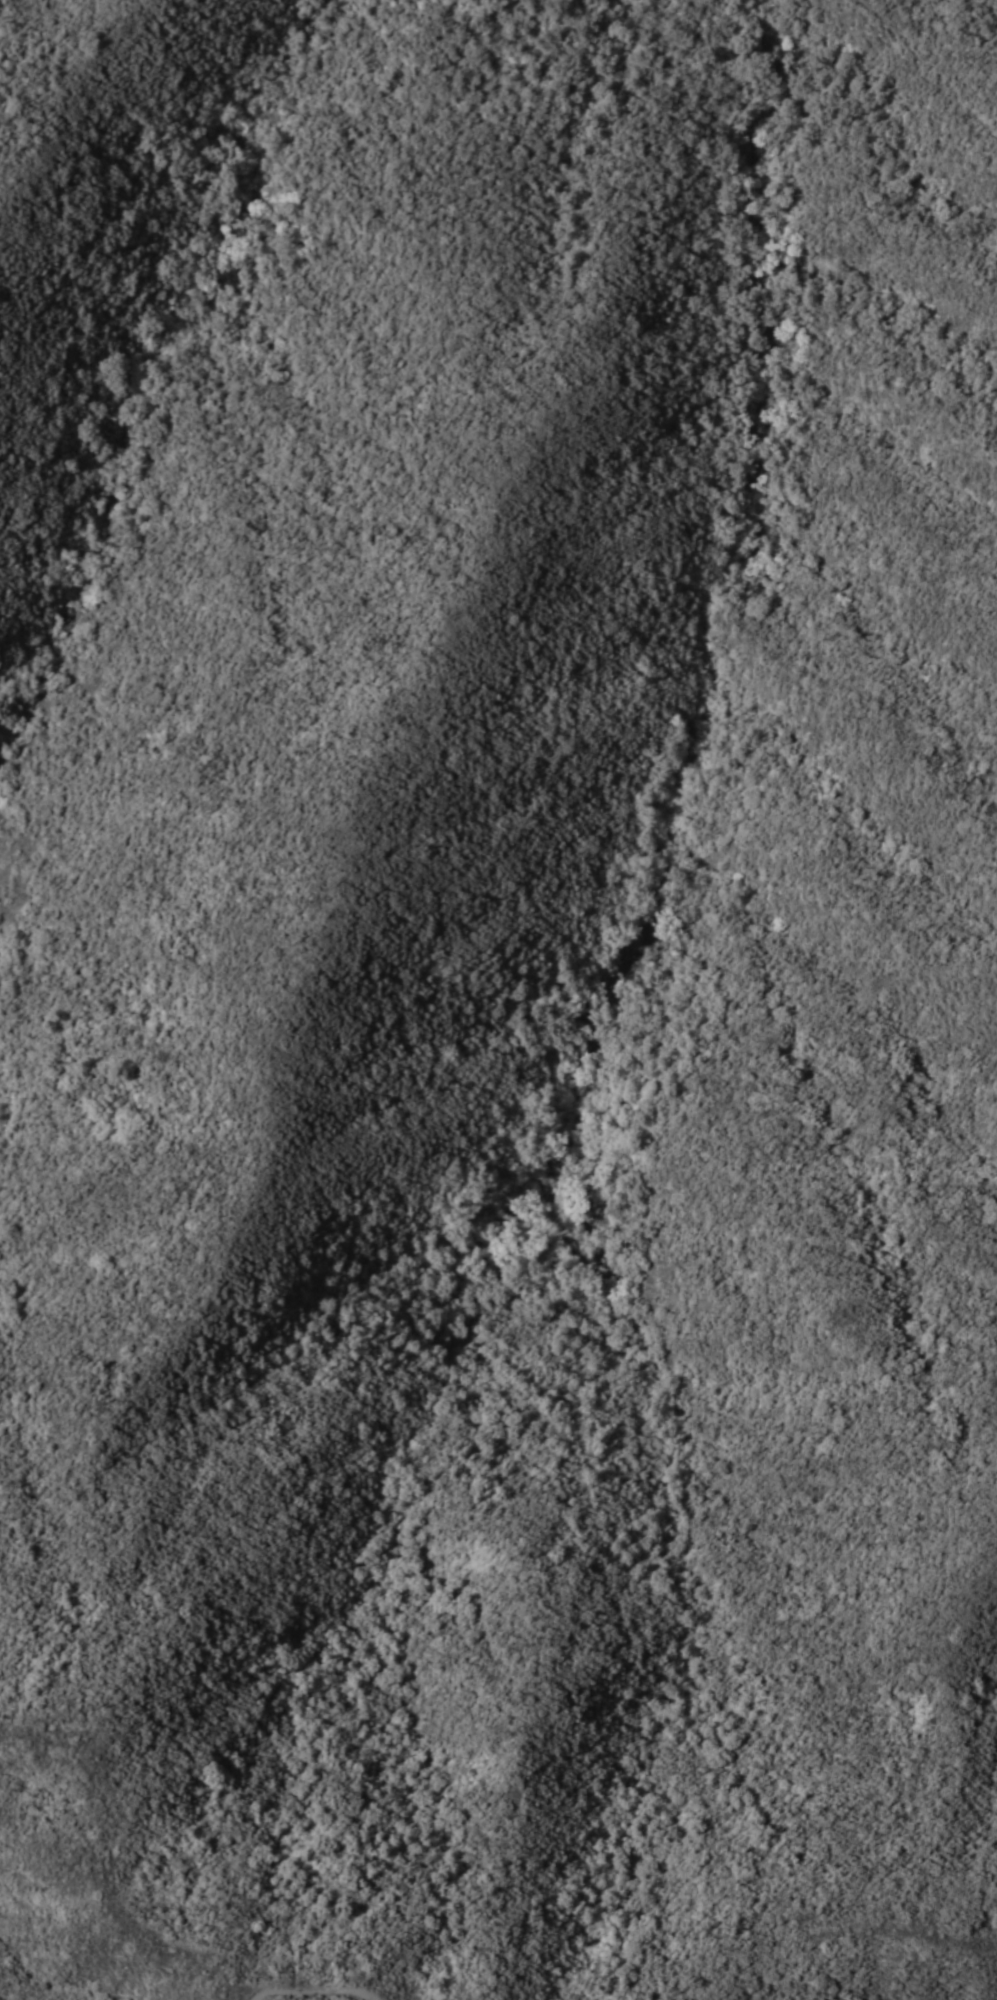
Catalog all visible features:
road: (310, 1994)

